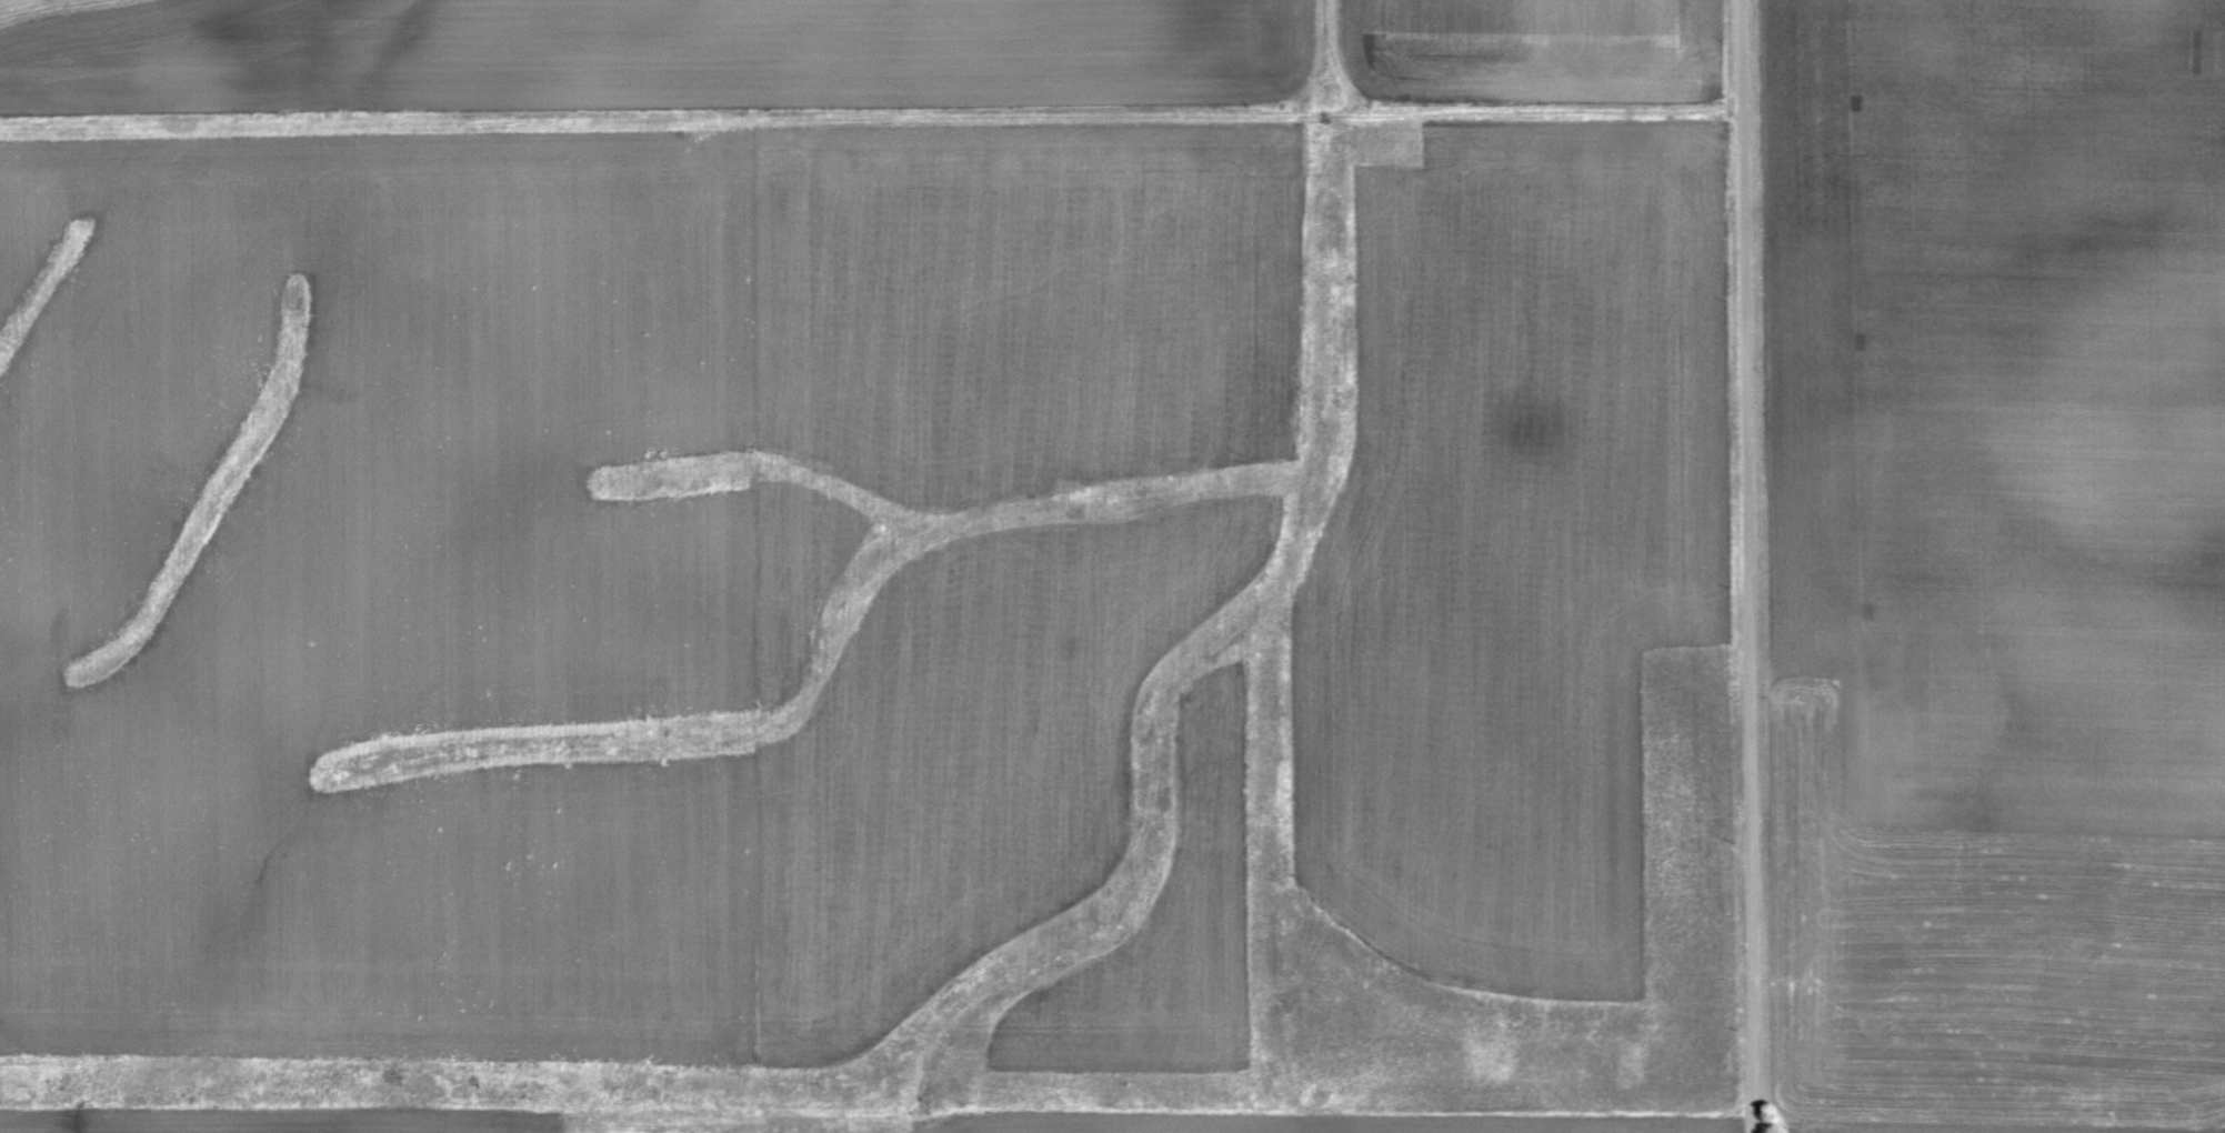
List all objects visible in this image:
road: (1745, 560)
road: (1753, 1126)

